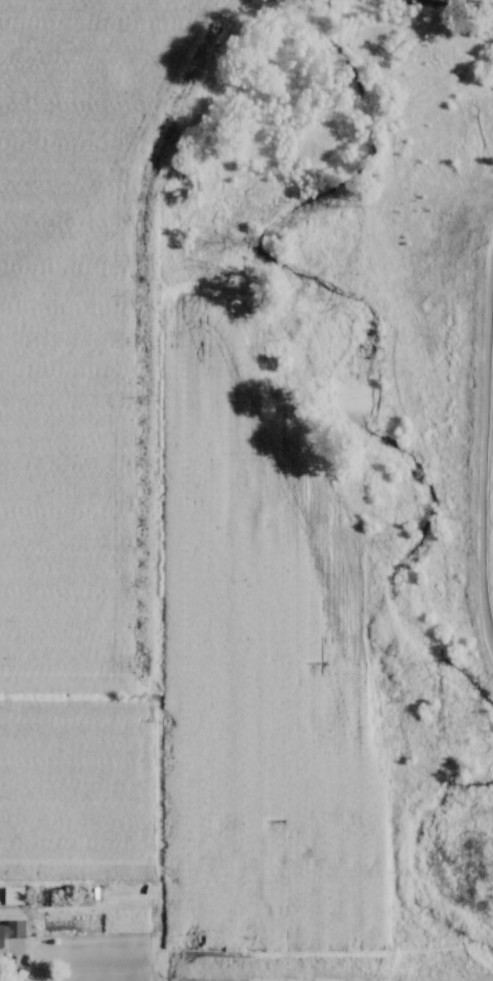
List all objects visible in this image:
building: (240, 827)
building: (128, 908)
building: (247, 932)
building: (12, 933)

